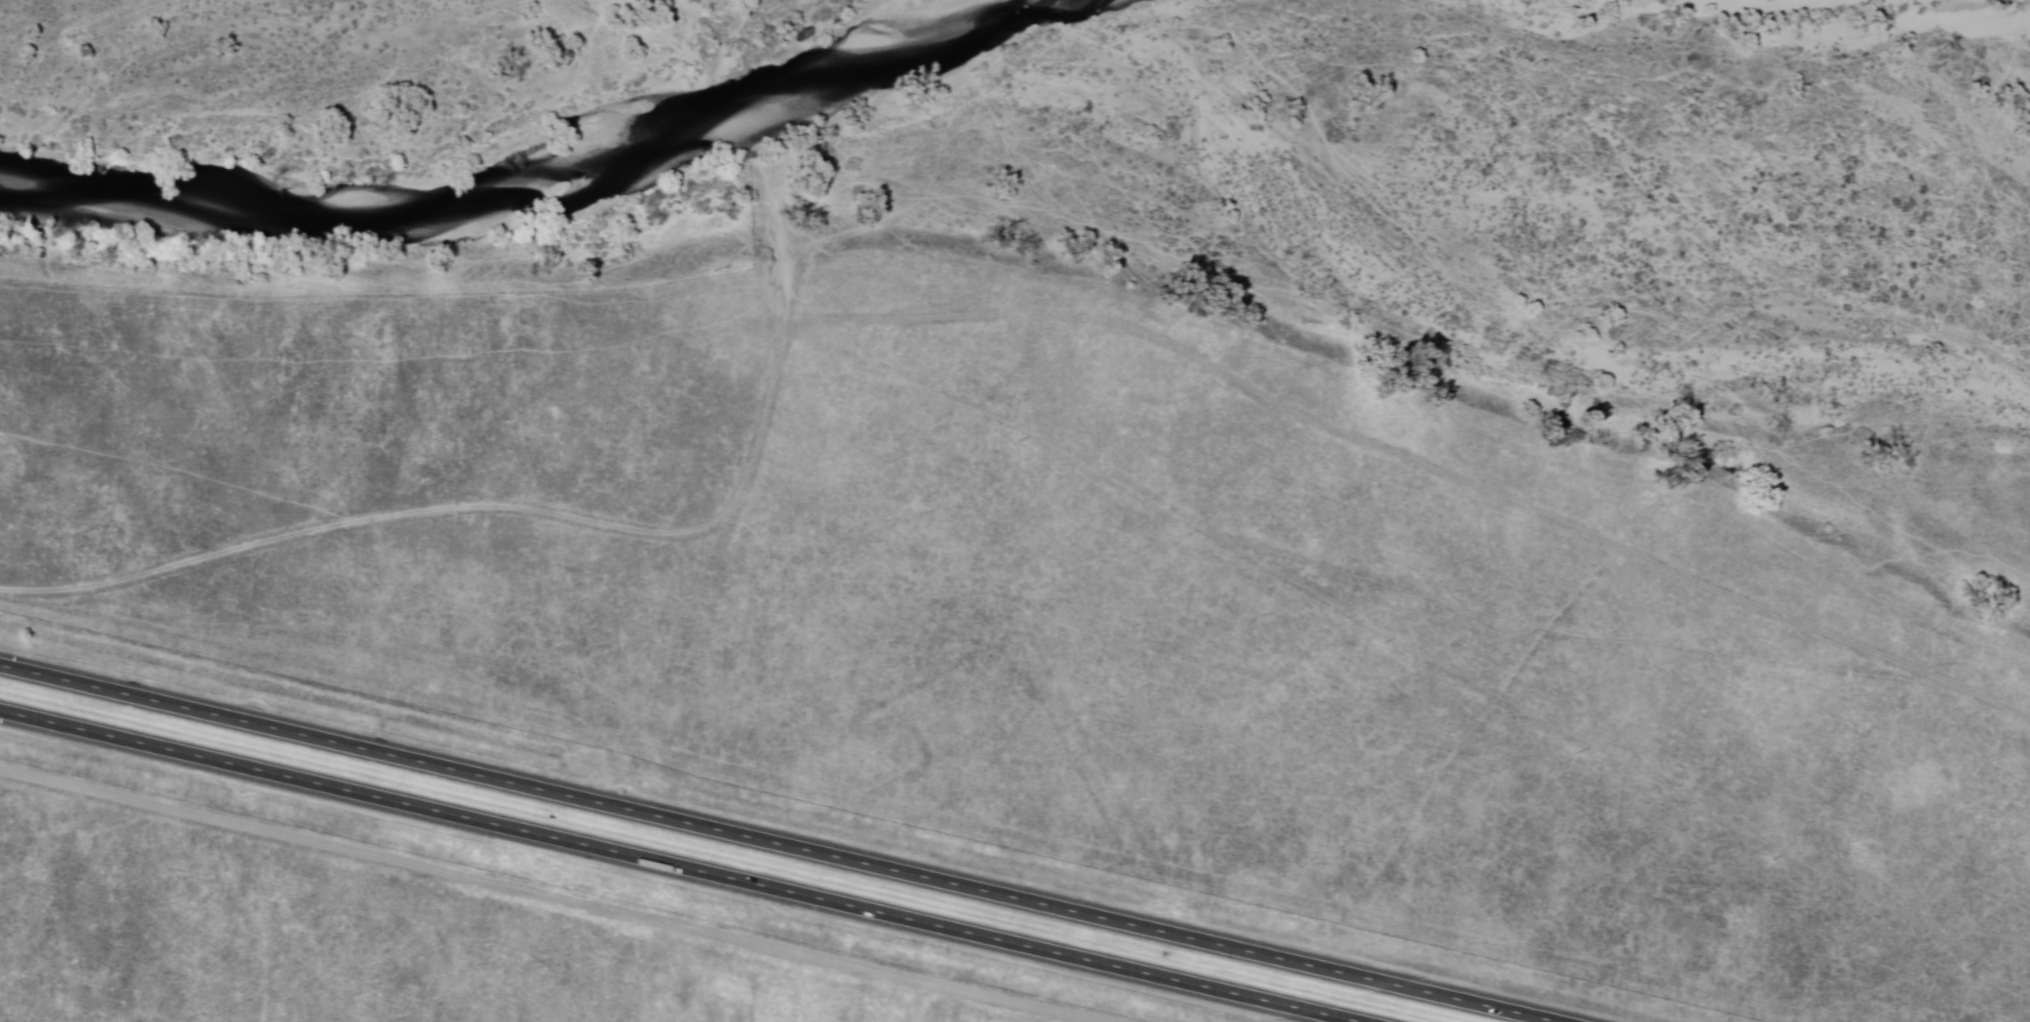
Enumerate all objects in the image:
river: (877, 61)
river: (647, 159)
river: (105, 188)
river: (369, 202)
road: (982, 314)
road: (780, 843)
road: (688, 862)
road: (551, 897)
road: (911, 1000)

